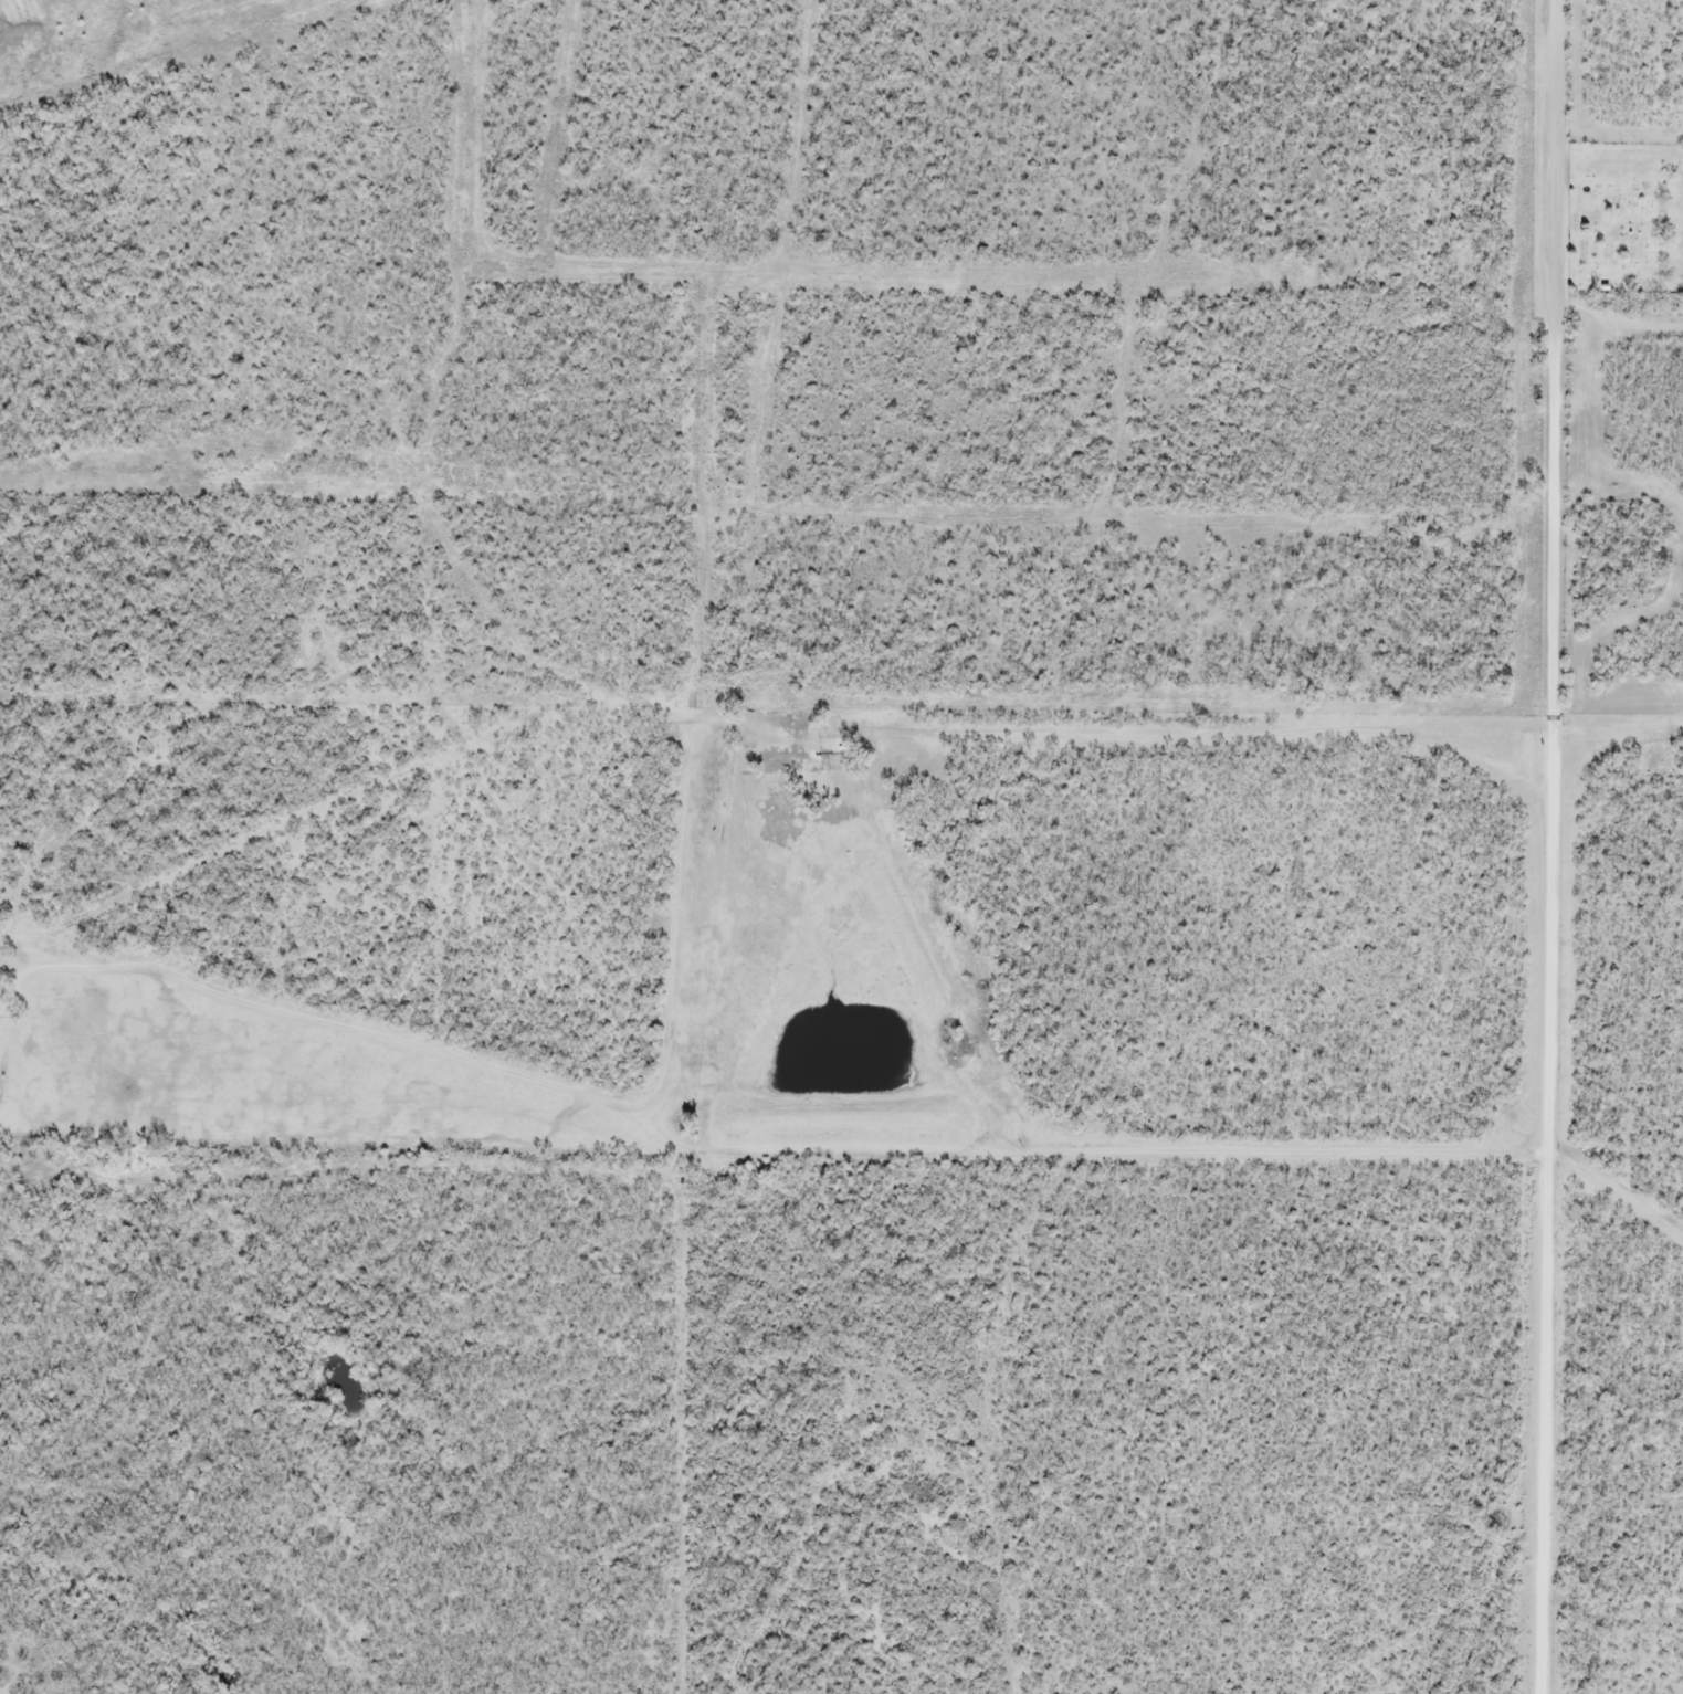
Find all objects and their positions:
park: (1624, 219)
road: (1551, 592)
road: (1536, 1440)

